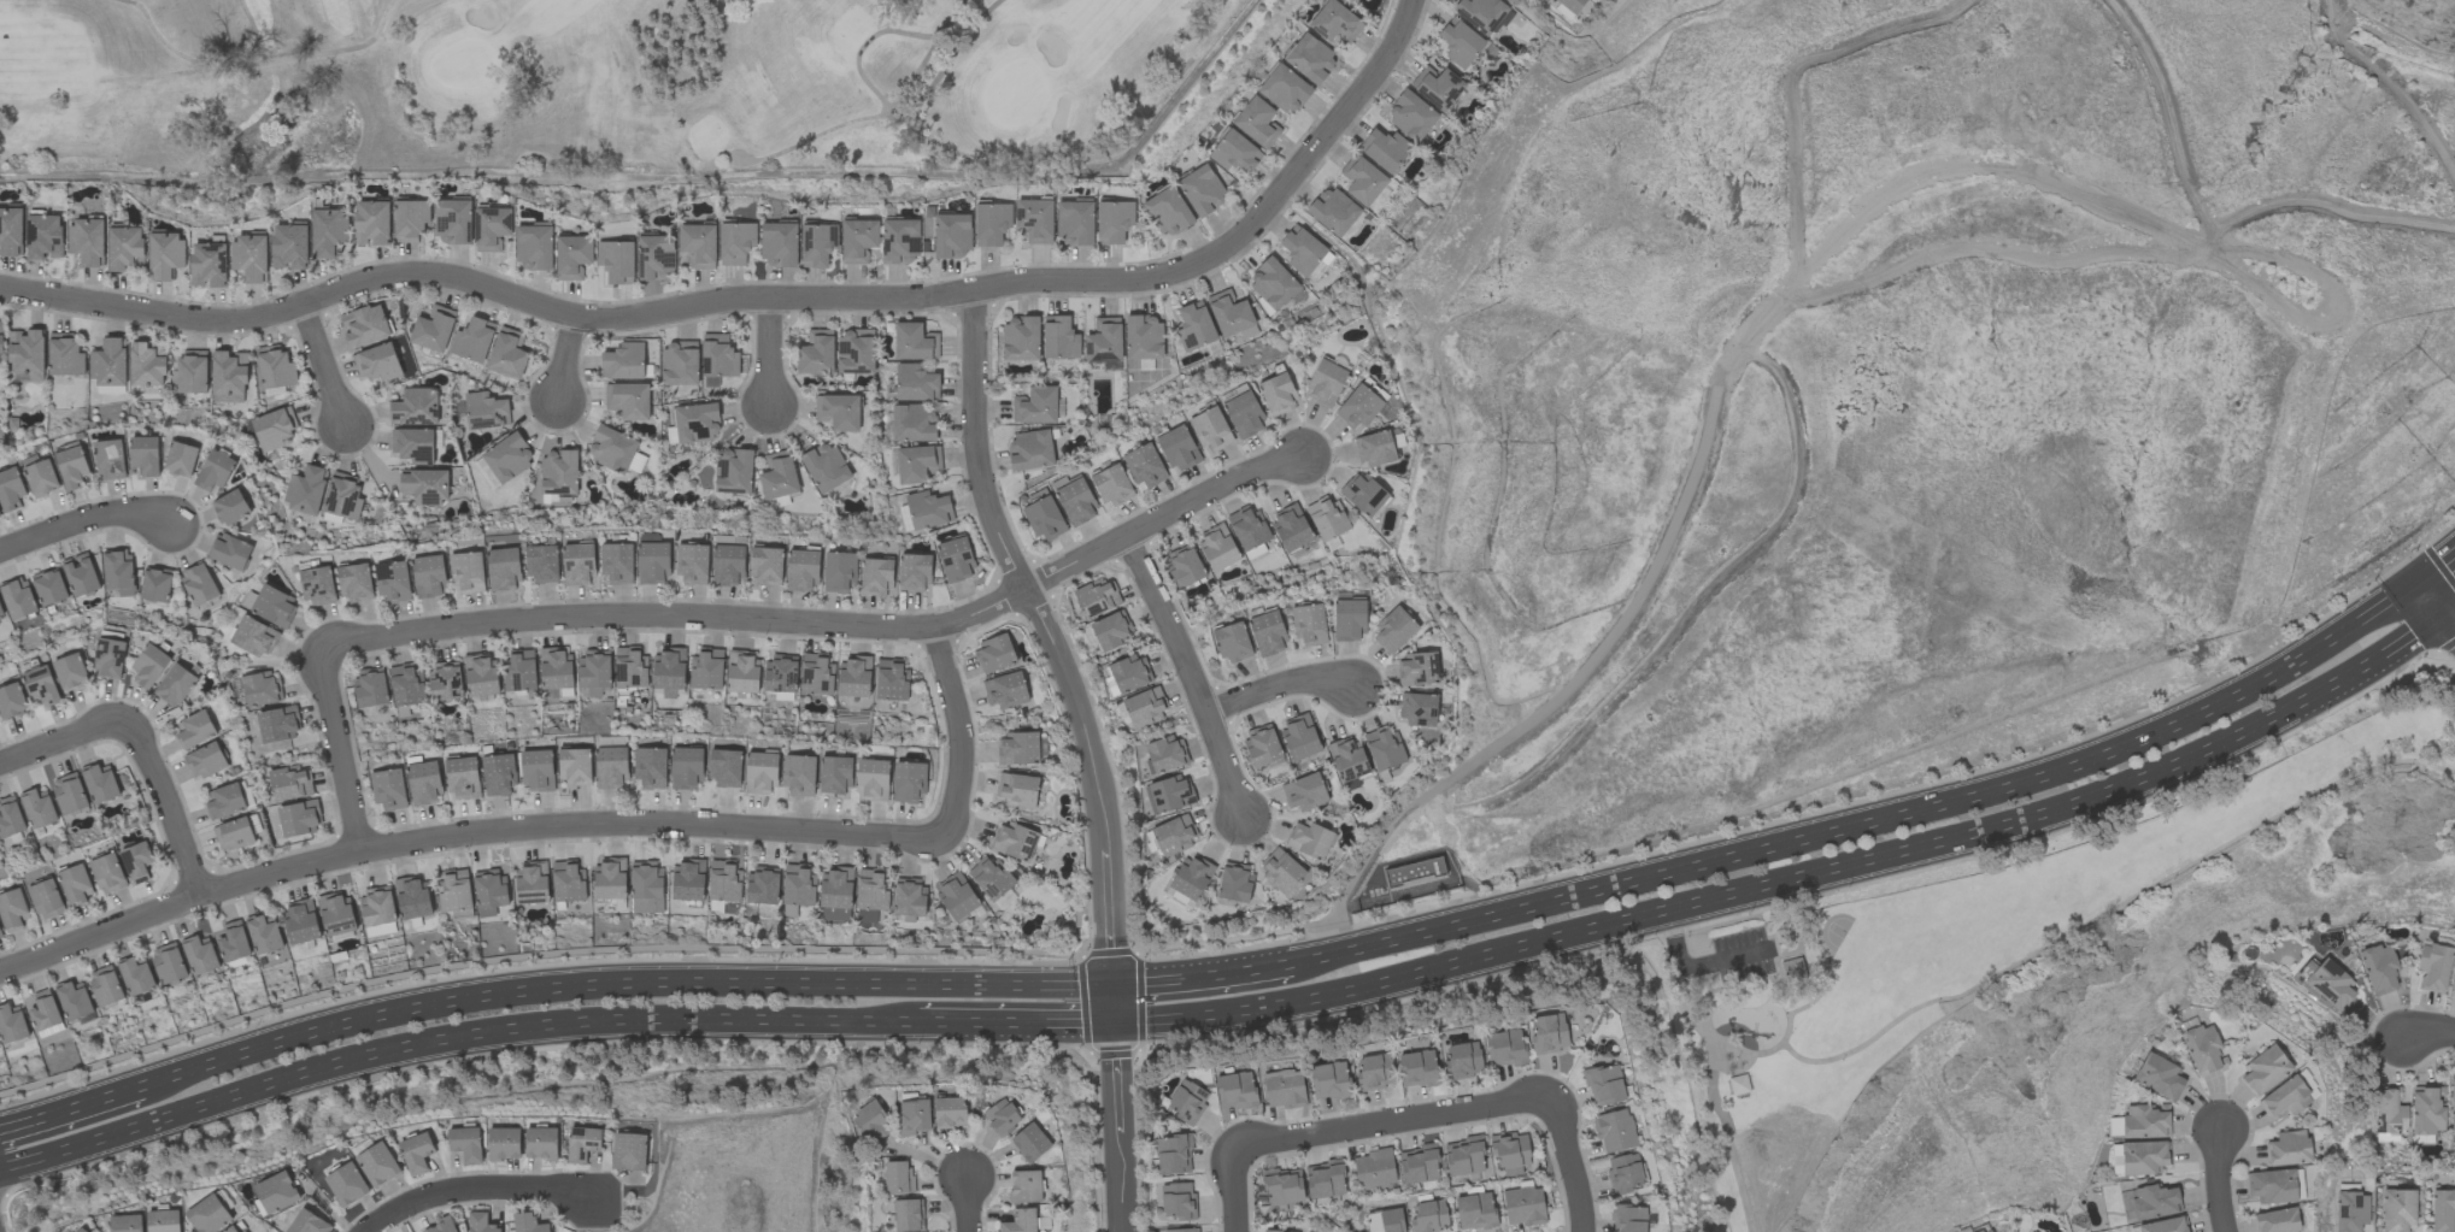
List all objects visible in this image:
building: (1572, 5)
building: (1484, 14)
building: (1334, 23)
building: (1460, 43)
building: (1310, 58)
road: (1791, 67)
park: (594, 82)
building: (1437, 87)
road: (2391, 87)
building: (1285, 89)
building: (1410, 117)
road: (2166, 117)
building: (1257, 122)
building: (1384, 149)
building: (1233, 152)
building: (1362, 179)
building: (1202, 190)
road: (2325, 207)
building: (1167, 212)
building: (1333, 212)
building: (410, 219)
building: (1035, 220)
building: (452, 222)
building: (1114, 222)
building: (371, 223)
building: (992, 223)
building: (1075, 223)
building: (492, 228)
building: (11, 232)
building: (328, 232)
building: (952, 235)
building: (43, 237)
building: (87, 241)
building: (858, 241)
building: (900, 241)
building: (735, 242)
building: (698, 244)
building: (779, 244)
building: (817, 244)
building: (289, 247)
building: (125, 248)
building: (534, 248)
building: (1302, 249)
road: (1996, 250)
building: (165, 255)
building: (572, 257)
building: (249, 258)
building: (656, 258)
building: (616, 261)
building: (207, 264)
building: (1322, 265)
building: (1273, 284)
road: (764, 299)
power tower: (2303, 301)
road: (2336, 308)
building: (1229, 313)
building: (364, 326)
building: (1194, 326)
building: (433, 329)
building: (1143, 337)
building: (1020, 338)
building: (1059, 338)
building: (472, 340)
building: (1103, 341)
building: (914, 342)
building: (0, 343)
building: (856, 352)
building: (507, 353)
building: (816, 353)
building: (25, 355)
building: (64, 355)
building: (718, 356)
road: (769, 356)
road: (565, 359)
building: (623, 361)
road: (327, 362)
building: (377, 362)
building: (108, 364)
building: (679, 364)
building: (146, 366)
building: (275, 367)
building: (189, 375)
building: (228, 377)
building: (1326, 382)
building: (915, 383)
building: (1278, 394)
building: (628, 400)
building: (1035, 406)
building: (1358, 407)
building: (415, 408)
road: (1714, 408)
building: (484, 411)
building: (838, 412)
building: (1244, 415)
building: (695, 423)
building: (912, 423)
building: (274, 429)
building: (1210, 429)
building: (412, 446)
building: (1177, 448)
building: (1374, 448)
building: (1030, 449)
building: (615, 450)
building: (145, 455)
building: (507, 458)
building: (181, 459)
building: (110, 460)
building: (916, 464)
building: (1144, 466)
building: (72, 467)
building: (826, 467)
building: (215, 471)
building: (733, 472)
building: (558, 473)
building: (486, 474)
building: (40, 476)
building: (777, 476)
building: (424, 485)
building: (1111, 485)
building: (11, 490)
building: (305, 491)
building: (1364, 494)
building: (342, 496)
building: (777, 502)
building: (1076, 502)
building: (230, 507)
building: (928, 509)
building: (0, 514)
road: (87, 518)
building: (1044, 518)
building: (1327, 518)
building: (1247, 527)
building: (729, 540)
building: (1217, 548)
building: (230, 552)
building: (1253, 553)
building: (956, 560)
building: (652, 562)
building: (541, 564)
building: (617, 564)
building: (692, 564)
building: (577, 565)
building: (727, 566)
building: (767, 566)
building: (1185, 566)
road: (2436, 567)
building: (117, 570)
building: (503, 570)
building: (801, 570)
building: (839, 571)
building: (466, 572)
building: (914, 573)
building: (80, 574)
building: (428, 577)
building: (875, 577)
building: (393, 582)
building: (354, 583)
building: (198, 584)
building: (154, 585)
building: (316, 585)
building: (49, 588)
building: (17, 599)
building: (1096, 599)
building: (274, 606)
road: (2436, 608)
building: (1, 611)
building: (1349, 620)
road: (828, 624)
building: (1309, 624)
building: (1393, 631)
building: (1111, 632)
building: (1268, 633)
building: (254, 637)
building: (1232, 642)
road: (1056, 653)
building: (993, 654)
building: (110, 659)
building: (149, 666)
building: (629, 667)
building: (556, 668)
building: (519, 670)
building: (706, 670)
building: (1416, 670)
building: (70, 671)
building: (593, 672)
building: (742, 672)
building: (668, 673)
building: (780, 673)
building: (1130, 673)
building: (480, 674)
building: (816, 674)
building: (853, 677)
road: (1188, 677)
building: (445, 680)
building: (891, 680)
building: (175, 685)
building: (405, 685)
building: (41, 686)
road: (1276, 688)
building: (262, 689)
building: (369, 689)
building: (1005, 690)
building: (11, 701)
building: (1145, 707)
building: (1417, 709)
building: (278, 724)
building: (194, 730)
road: (957, 732)
road: (63, 736)
building: (1299, 737)
building: (1262, 745)
building: (1018, 748)
road: (341, 750)
building: (1384, 751)
building: (1165, 755)
building: (1346, 759)
building: (205, 761)
building: (575, 767)
building: (611, 767)
building: (650, 767)
building: (686, 768)
building: (726, 768)
building: (536, 770)
building: (760, 773)
building: (498, 774)
building: (799, 776)
building: (834, 776)
building: (463, 778)
building: (873, 780)
building: (909, 782)
building: (100, 783)
building: (289, 783)
building: (424, 783)
building: (388, 789)
building: (1017, 790)
building: (1304, 792)
building: (69, 794)
building: (1169, 795)
road: (166, 801)
building: (224, 801)
building: (37, 808)
building: (10, 817)
building: (298, 819)
road: (1869, 824)
building: (233, 835)
road: (463, 835)
building: (1174, 835)
building: (1309, 839)
building: (1016, 841)
building: (136, 861)
building: (1281, 871)
building: (1414, 872)
building: (107, 873)
building: (1191, 877)
building: (609, 878)
building: (989, 878)
building: (688, 879)
road: (1805, 879)
building: (568, 882)
building: (723, 882)
building: (1235, 882)
building: (531, 883)
building: (76, 884)
building: (762, 885)
building: (798, 885)
building: (646, 888)
building: (453, 890)
building: (836, 890)
building: (871, 891)
building: (489, 892)
building: (412, 897)
building: (909, 897)
building: (956, 897)
building: (1179, 898)
building: (46, 900)
road: (2114, 908)
building: (13, 909)
building: (377, 910)
building: (336, 914)
building: (300, 921)
road: (1335, 922)
road: (1670, 926)
park: (1836, 932)
building: (263, 936)
building: (233, 942)
park: (1964, 942)
building: (199, 955)
parking lot: (1743, 961)
building: (168, 963)
road: (1710, 965)
building: (2432, 967)
building: (1792, 968)
building: (2379, 968)
building: (136, 975)
road: (1826, 979)
road: (1198, 980)
building: (2453, 984)
building: (104, 985)
road: (621, 985)
road: (1673, 988)
building: (2328, 988)
road: (1707, 1000)
building: (74, 1001)
building: (43, 1010)
building: (11, 1025)
road: (1015, 1027)
building: (1547, 1033)
road: (2430, 1034)
road: (1702, 1038)
road: (450, 1042)
building: (1504, 1048)
building: (2201, 1049)
building: (1463, 1061)
building: (1417, 1068)
building: (2265, 1071)
building: (1374, 1072)
building: (2159, 1077)
building: (1329, 1080)
building: (1604, 1085)
building: (1738, 1085)
building: (1284, 1089)
building: (1235, 1090)
building: (2284, 1098)
building: (1187, 1102)
building: (2451, 1102)
road: (71, 1108)
building: (2427, 1110)
building: (950, 1112)
building: (2389, 1115)
building: (912, 1116)
building: (1002, 1118)
road: (1390, 1121)
building: (2144, 1122)
building: (871, 1124)
building: (2114, 1126)
road: (1118, 1128)
building: (1614, 1131)
building: (504, 1143)
building: (540, 1143)
building: (1030, 1143)
building: (465, 1144)
building: (582, 1144)
building: (2287, 1149)
building: (628, 1151)
building: (416, 1153)
road: (1731, 1153)
building: (1510, 1154)
building: (1173, 1155)
building: (1464, 1156)
building: (2143, 1157)
road: (1569, 1162)
building: (377, 1165)
building: (1419, 1166)
building: (1374, 1169)
building: (1623, 1173)
building: (898, 1177)
road: (2216, 1179)
building: (1325, 1180)
building: (346, 1184)
building: (1024, 1186)
building: (1282, 1186)
building: (2272, 1186)
road: (477, 1190)
road: (1234, 1191)
building: (276, 1192)
building: (1177, 1201)
building: (2154, 1202)
road: (967, 1204)
building: (1523, 1207)
building: (2397, 1210)
building: (2442, 1210)
building: (1474, 1212)
building: (2350, 1212)
building: (207, 1215)
building: (908, 1215)
building: (1428, 1216)
building: (1628, 1219)
building: (164, 1221)
building: (1020, 1221)
building: (1385, 1221)
building: (2275, 1221)
building: (307, 1222)
building: (480, 1222)
building: (127, 1224)
building: (528, 1224)
building: (2165, 1225)
building: (440, 1226)
building: (82, 1230)
building: (231, 1230)
building: (1181, 1230)
building: (1985, 1230)
building: (1274, 1231)

